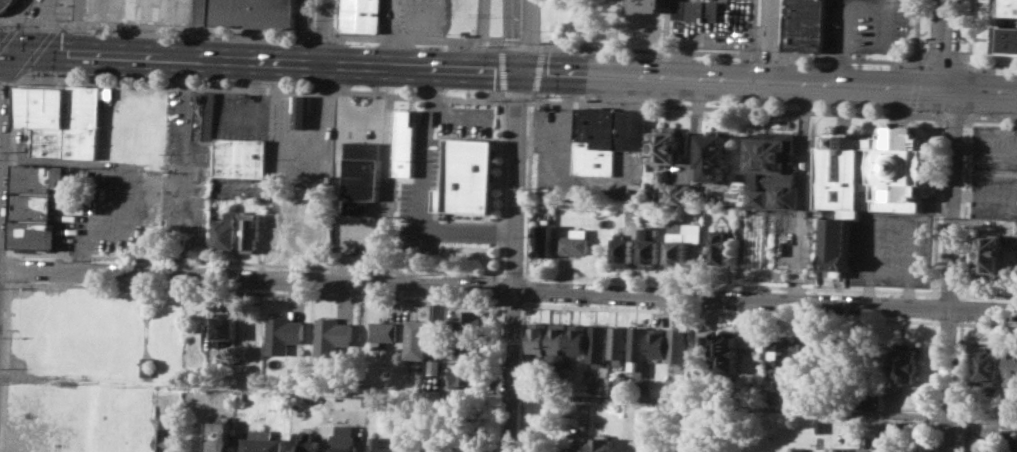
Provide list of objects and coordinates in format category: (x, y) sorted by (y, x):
road: (881, 2)
building: (6, 5)
building: (649, 5)
building: (1006, 7)
parking lot: (78, 9)
building: (696, 10)
building: (139, 11)
building: (254, 13)
road: (15, 14)
road: (66, 14)
building: (363, 15)
road: (337, 18)
park: (517, 18)
road: (9, 20)
building: (806, 24)
road: (876, 24)
parking lot: (866, 25)
road: (34, 26)
road: (754, 27)
road: (841, 27)
road: (189, 28)
road: (781, 28)
road: (198, 29)
road: (913, 30)
road: (326, 31)
road: (482, 34)
road: (4, 35)
road: (514, 35)
road: (530, 35)
road: (402, 38)
road: (323, 39)
building: (1005, 39)
road: (44, 40)
road: (769, 40)
road: (479, 42)
road: (495, 43)
road: (940, 44)
road: (538, 46)
road: (649, 49)
traffic signals: (20, 50)
road: (767, 54)
road: (968, 56)
road: (849, 58)
road: (940, 62)
road: (913, 63)
road: (965, 63)
road: (8, 65)
road: (508, 69)
traffic signals: (521, 70)
road: (912, 85)
road: (262, 88)
flagpole: (360, 98)
road: (732, 107)
road: (360, 109)
road: (907, 110)
building: (304, 111)
road: (460, 113)
road: (953, 115)
building: (205, 116)
road: (990, 117)
building: (60, 120)
road: (559, 120)
building: (633, 128)
building: (598, 140)
building: (407, 143)
building: (668, 147)
building: (716, 155)
building: (243, 157)
road: (11, 162)
building: (873, 170)
building: (775, 171)
parking lot: (993, 171)
road: (386, 175)
building: (363, 177)
building: (470, 177)
road: (423, 189)
road: (529, 189)
building: (679, 193)
parking lot: (142, 200)
building: (36, 206)
road: (934, 206)
road: (173, 207)
road: (963, 207)
building: (1016, 228)
building: (252, 230)
building: (227, 232)
building: (544, 240)
building: (575, 241)
building: (680, 242)
building: (836, 244)
building: (649, 247)
building: (719, 247)
parking lot: (889, 249)
building: (622, 250)
building: (988, 255)
road: (513, 260)
road: (344, 266)
road: (9, 267)
road: (948, 270)
road: (498, 273)
road: (512, 274)
road: (729, 283)
road: (498, 288)
road: (525, 288)
road: (508, 290)
road: (947, 293)
road: (327, 295)
road: (986, 295)
road: (498, 302)
road: (511, 302)
road: (525, 303)
road: (932, 307)
road: (961, 307)
road: (731, 312)
building: (466, 319)
road: (946, 322)
road: (985, 324)
building: (226, 327)
building: (383, 332)
building: (283, 333)
building: (332, 335)
building: (539, 336)
building: (420, 337)
building: (559, 337)
building: (579, 338)
building: (618, 341)
building: (658, 342)
building: (598, 343)
building: (678, 346)
building: (466, 347)
building: (638, 349)
building: (700, 350)
building: (726, 350)
building: (777, 352)
building: (802, 355)
building: (826, 356)
building: (906, 364)
road: (4, 365)
building: (987, 365)
building: (146, 366)
building: (1012, 368)
building: (465, 374)
road: (521, 377)
building: (427, 380)
building: (620, 380)
building: (536, 383)
building: (672, 383)
road: (930, 384)
road: (958, 384)
road: (255, 386)
building: (641, 388)
building: (873, 399)
road: (763, 407)
building: (54, 410)
building: (581, 410)
building: (821, 424)
building: (162, 434)
building: (219, 434)
building: (1006, 435)
building: (260, 441)
building: (1016, 441)
building: (306, 442)
building: (432, 443)
building: (479, 444)
building: (602, 444)
building: (380, 445)
building: (342, 447)
building: (576, 448)
building: (865, 450)
building: (42, 451)
building: (802, 451)

